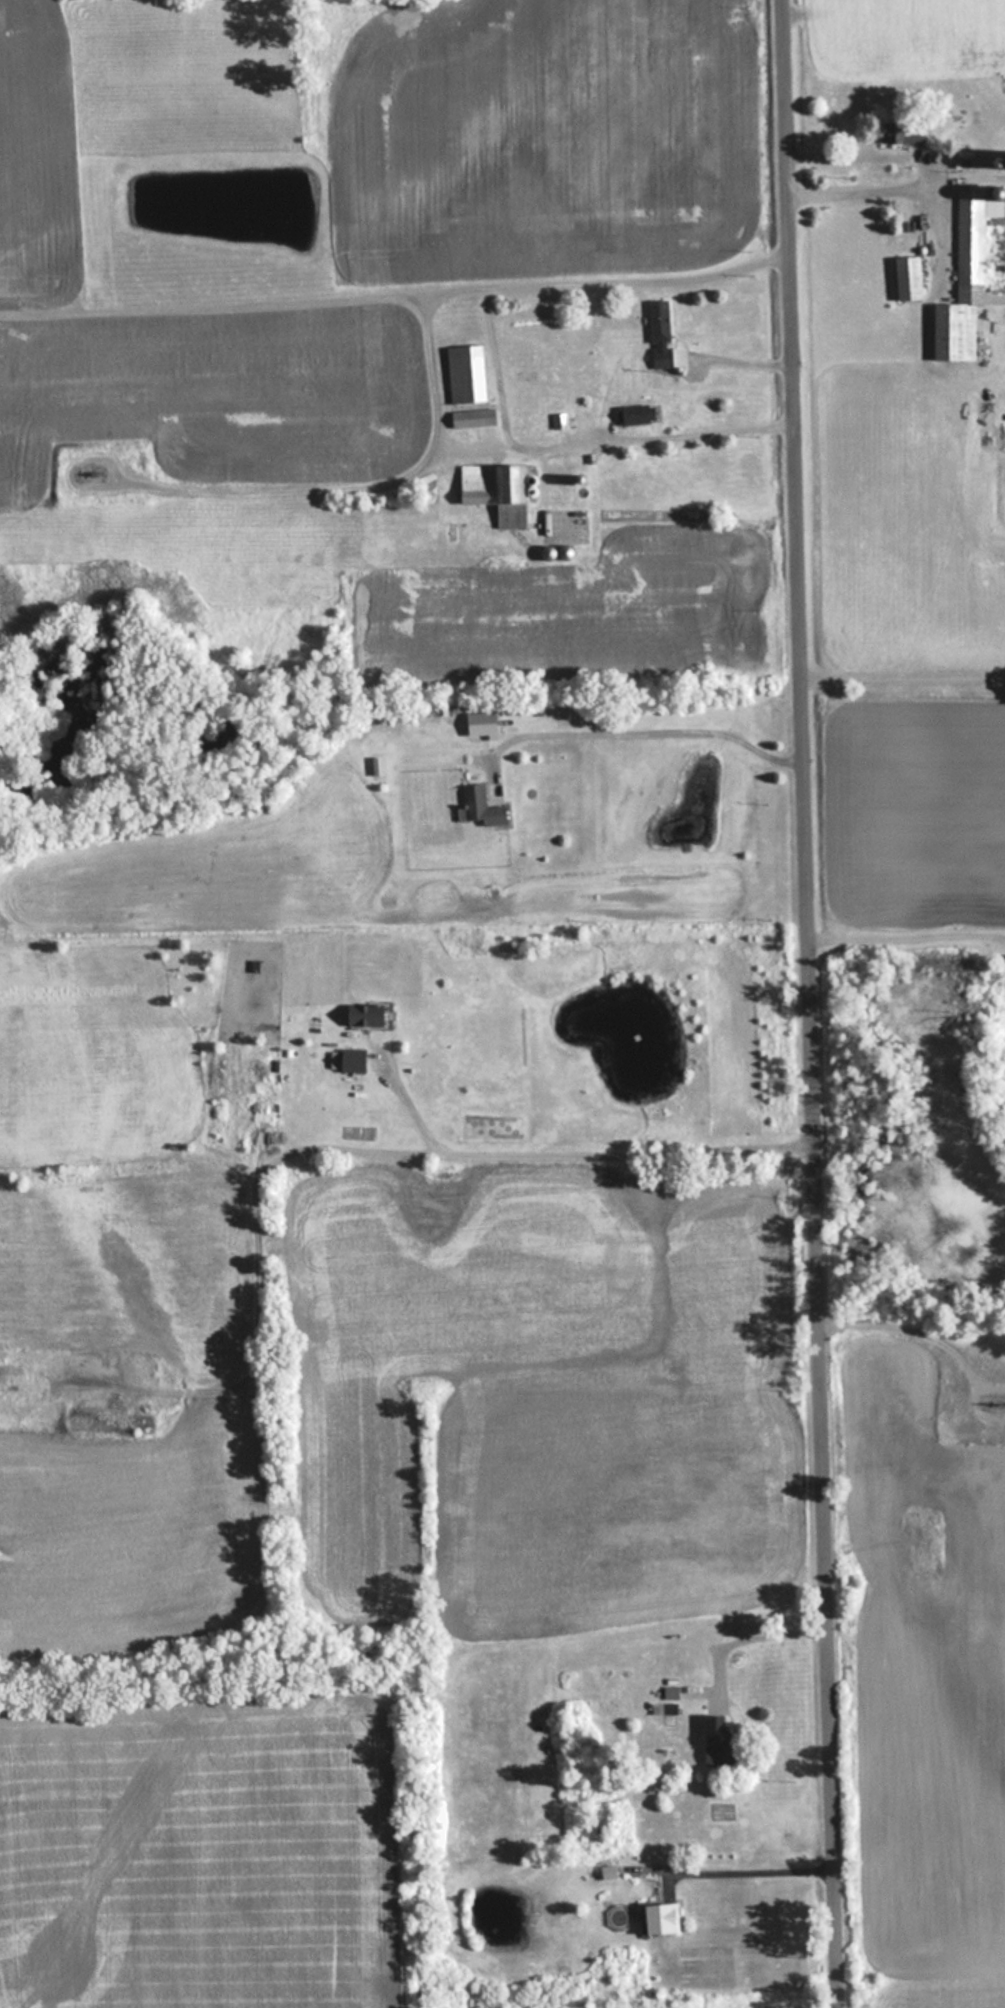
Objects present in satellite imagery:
building: (900, 132)
building: (979, 159)
building: (966, 264)
building: (905, 277)
road: (397, 294)
building: (658, 333)
building: (463, 373)
building: (634, 413)
building: (470, 418)
petroleum well: (89, 470)
building: (487, 483)
road: (358, 489)
building: (478, 723)
building: (480, 807)
road: (813, 1004)
building: (358, 1014)
building: (346, 1060)
road: (349, 1146)
road: (912, 1334)
petroleum well: (996, 1405)
building: (669, 1692)
building: (662, 1707)
building: (713, 1740)
building: (656, 1917)

